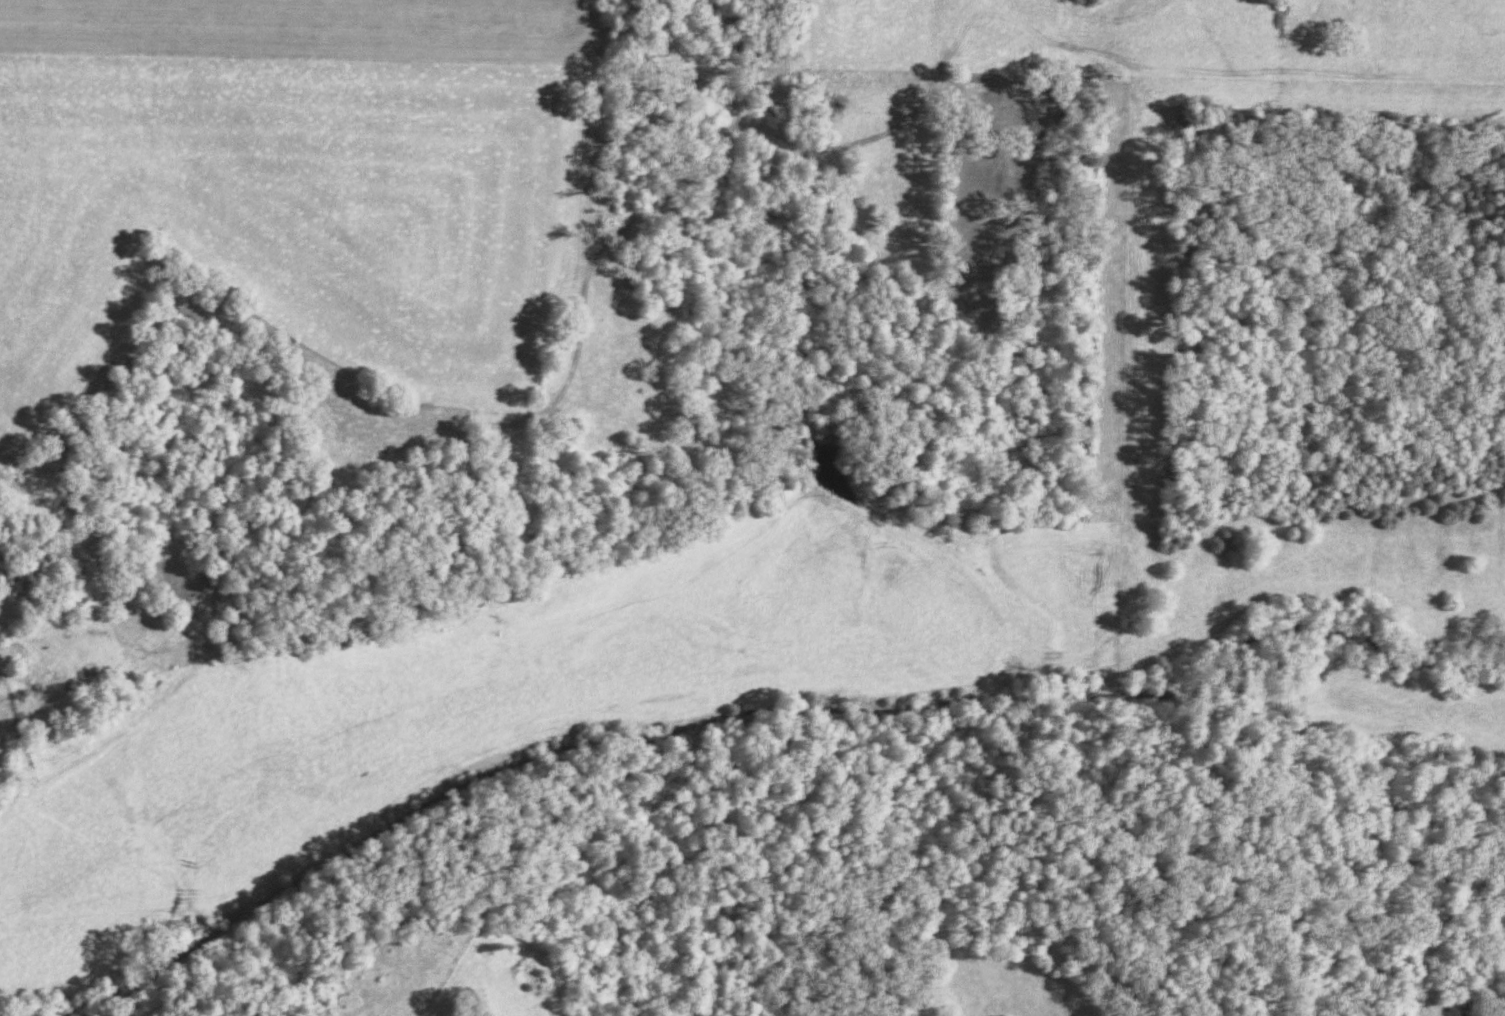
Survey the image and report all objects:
road: (320, 372)

